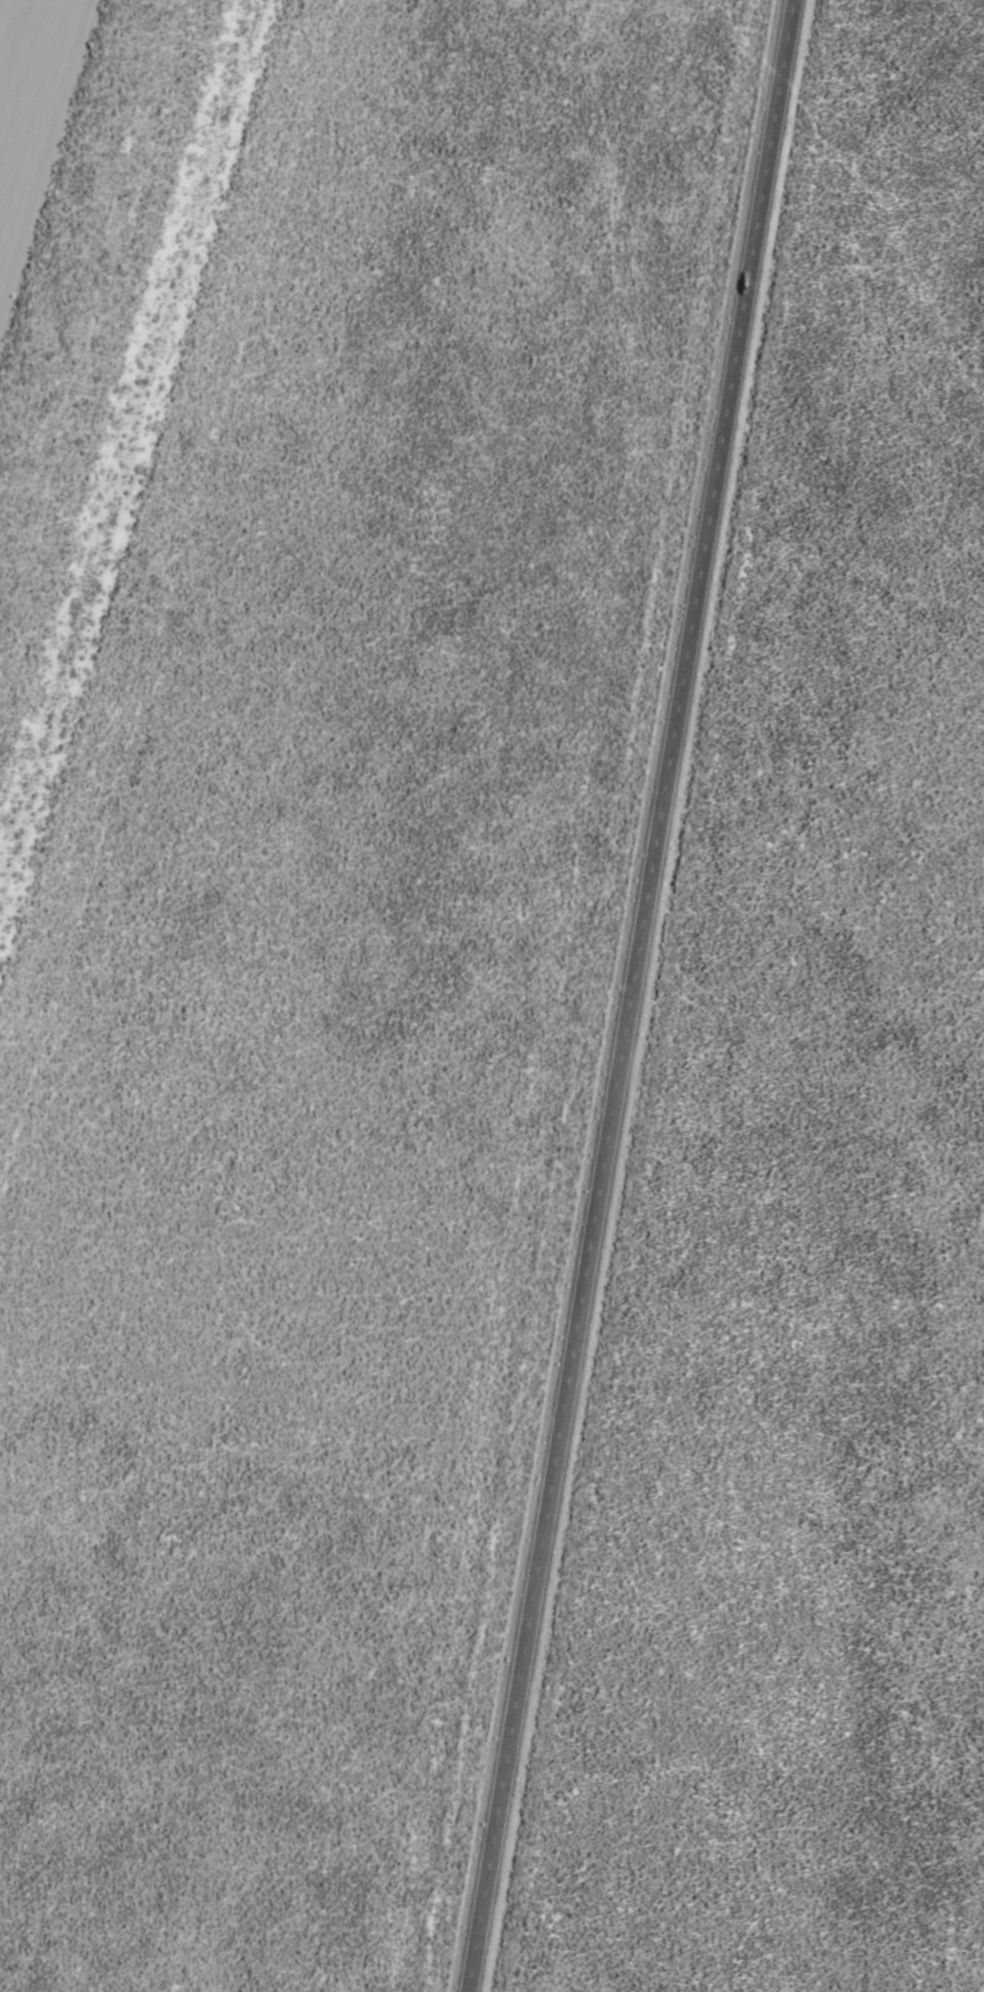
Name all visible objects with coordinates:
airport runway: (22, 79)
road: (629, 996)

